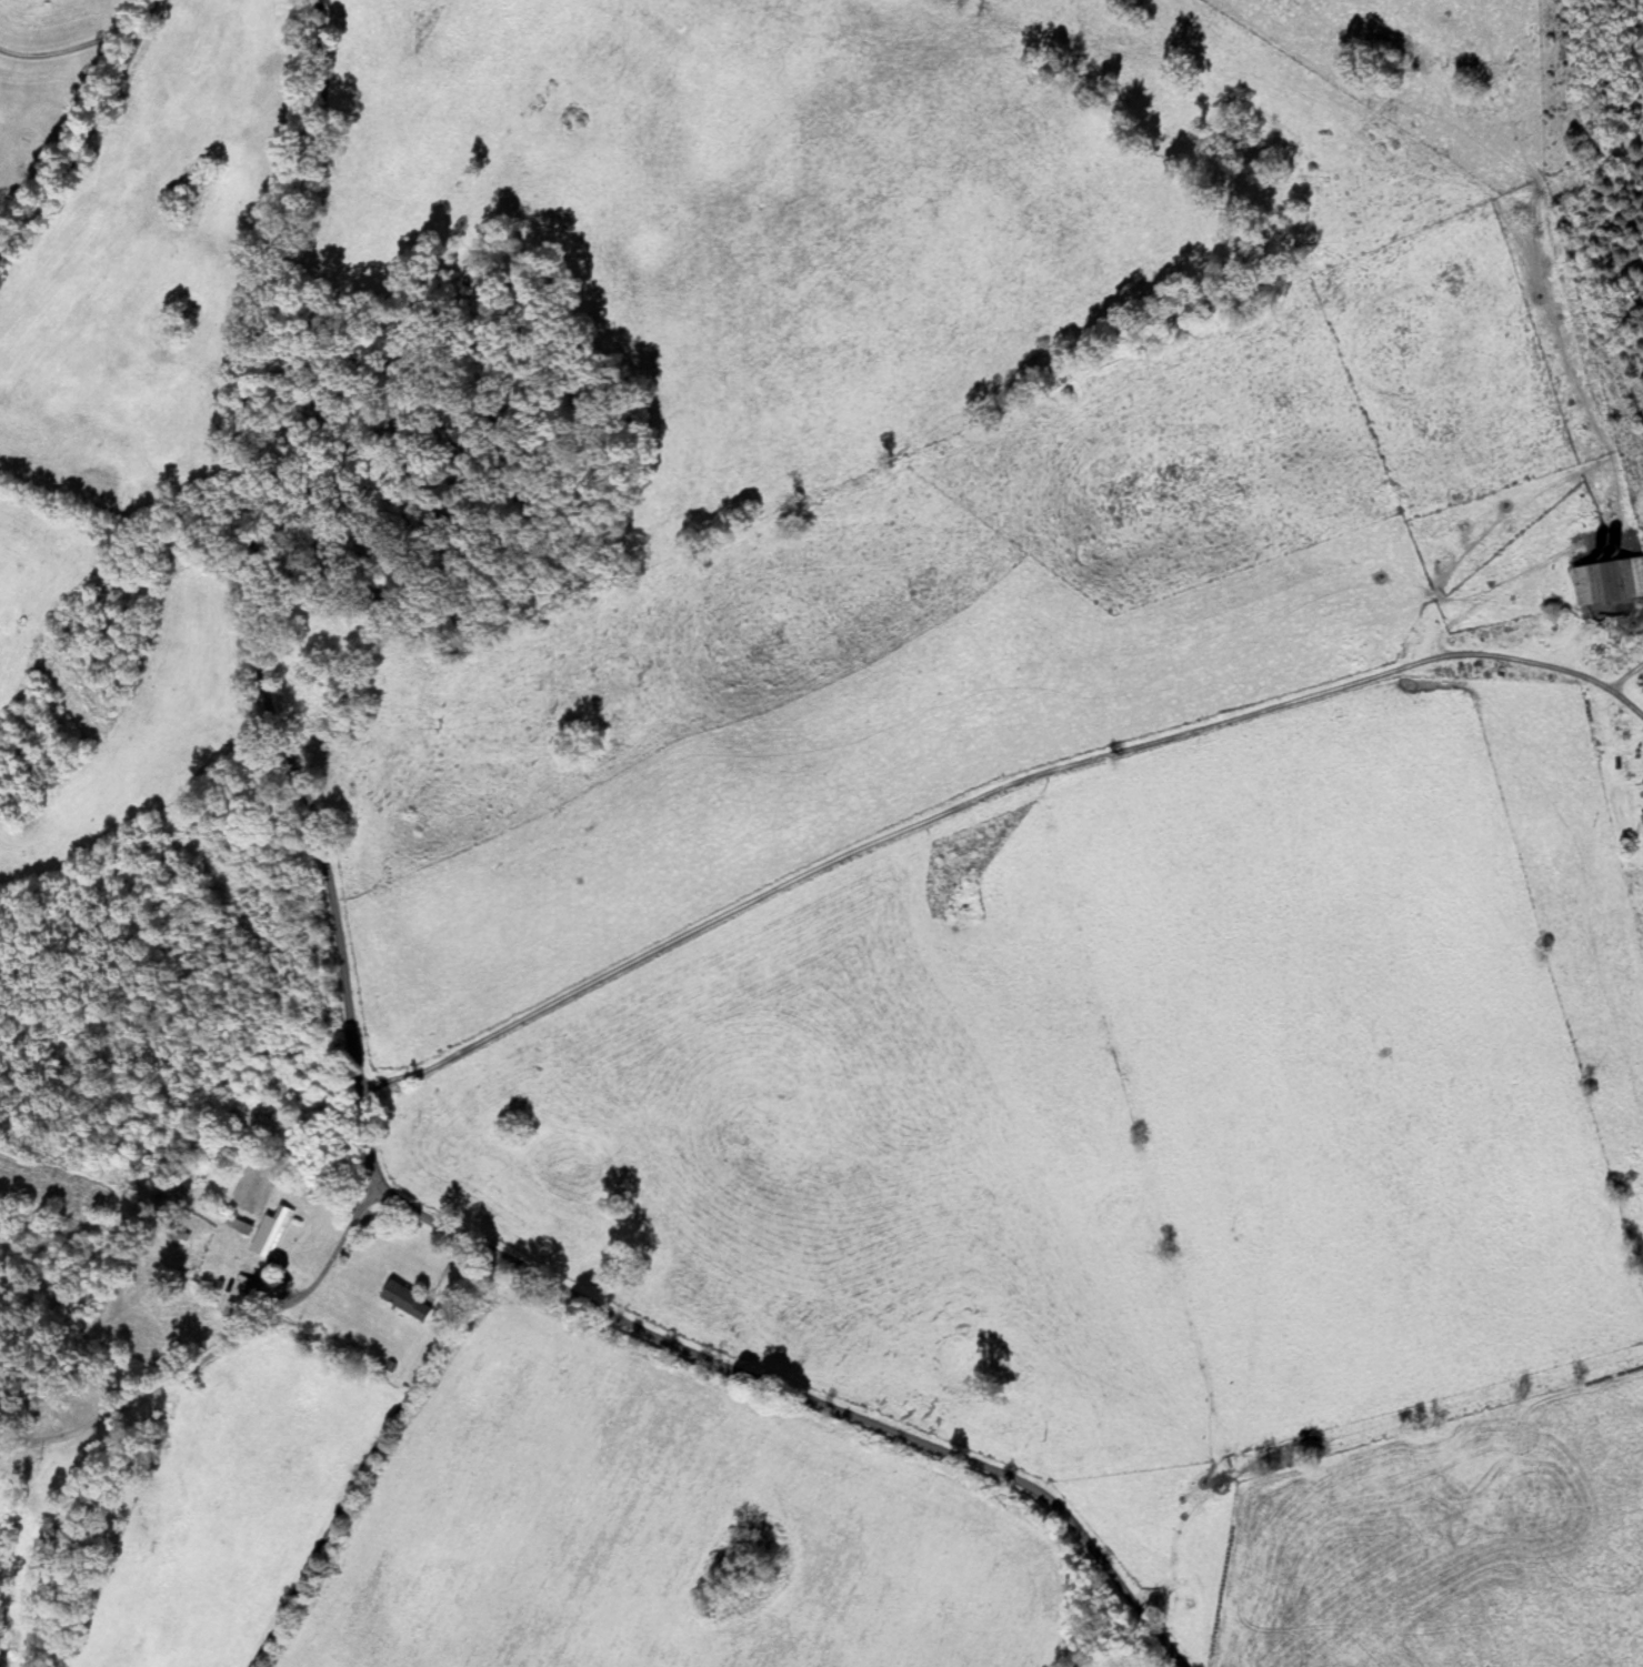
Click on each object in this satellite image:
road: (81, 131)
road: (257, 544)
building: (1607, 582)
road: (980, 773)
building: (178, 1189)
building: (238, 1227)
building: (271, 1231)
building: (177, 1235)
building: (240, 1299)
building: (403, 1302)
road: (219, 1355)
road: (760, 1376)
road: (379, 1458)

